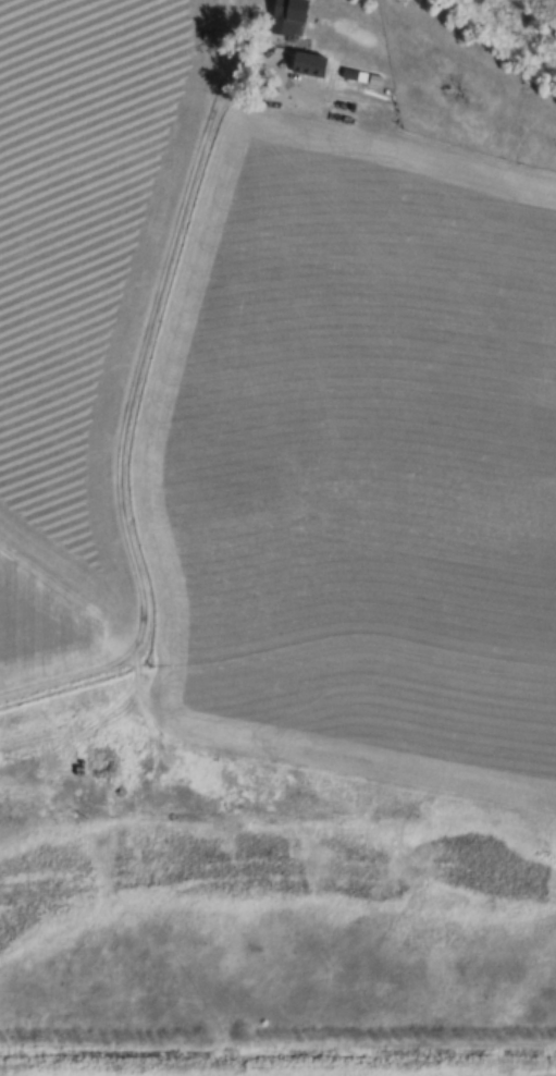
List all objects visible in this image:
building: (286, 16)
building: (307, 65)

